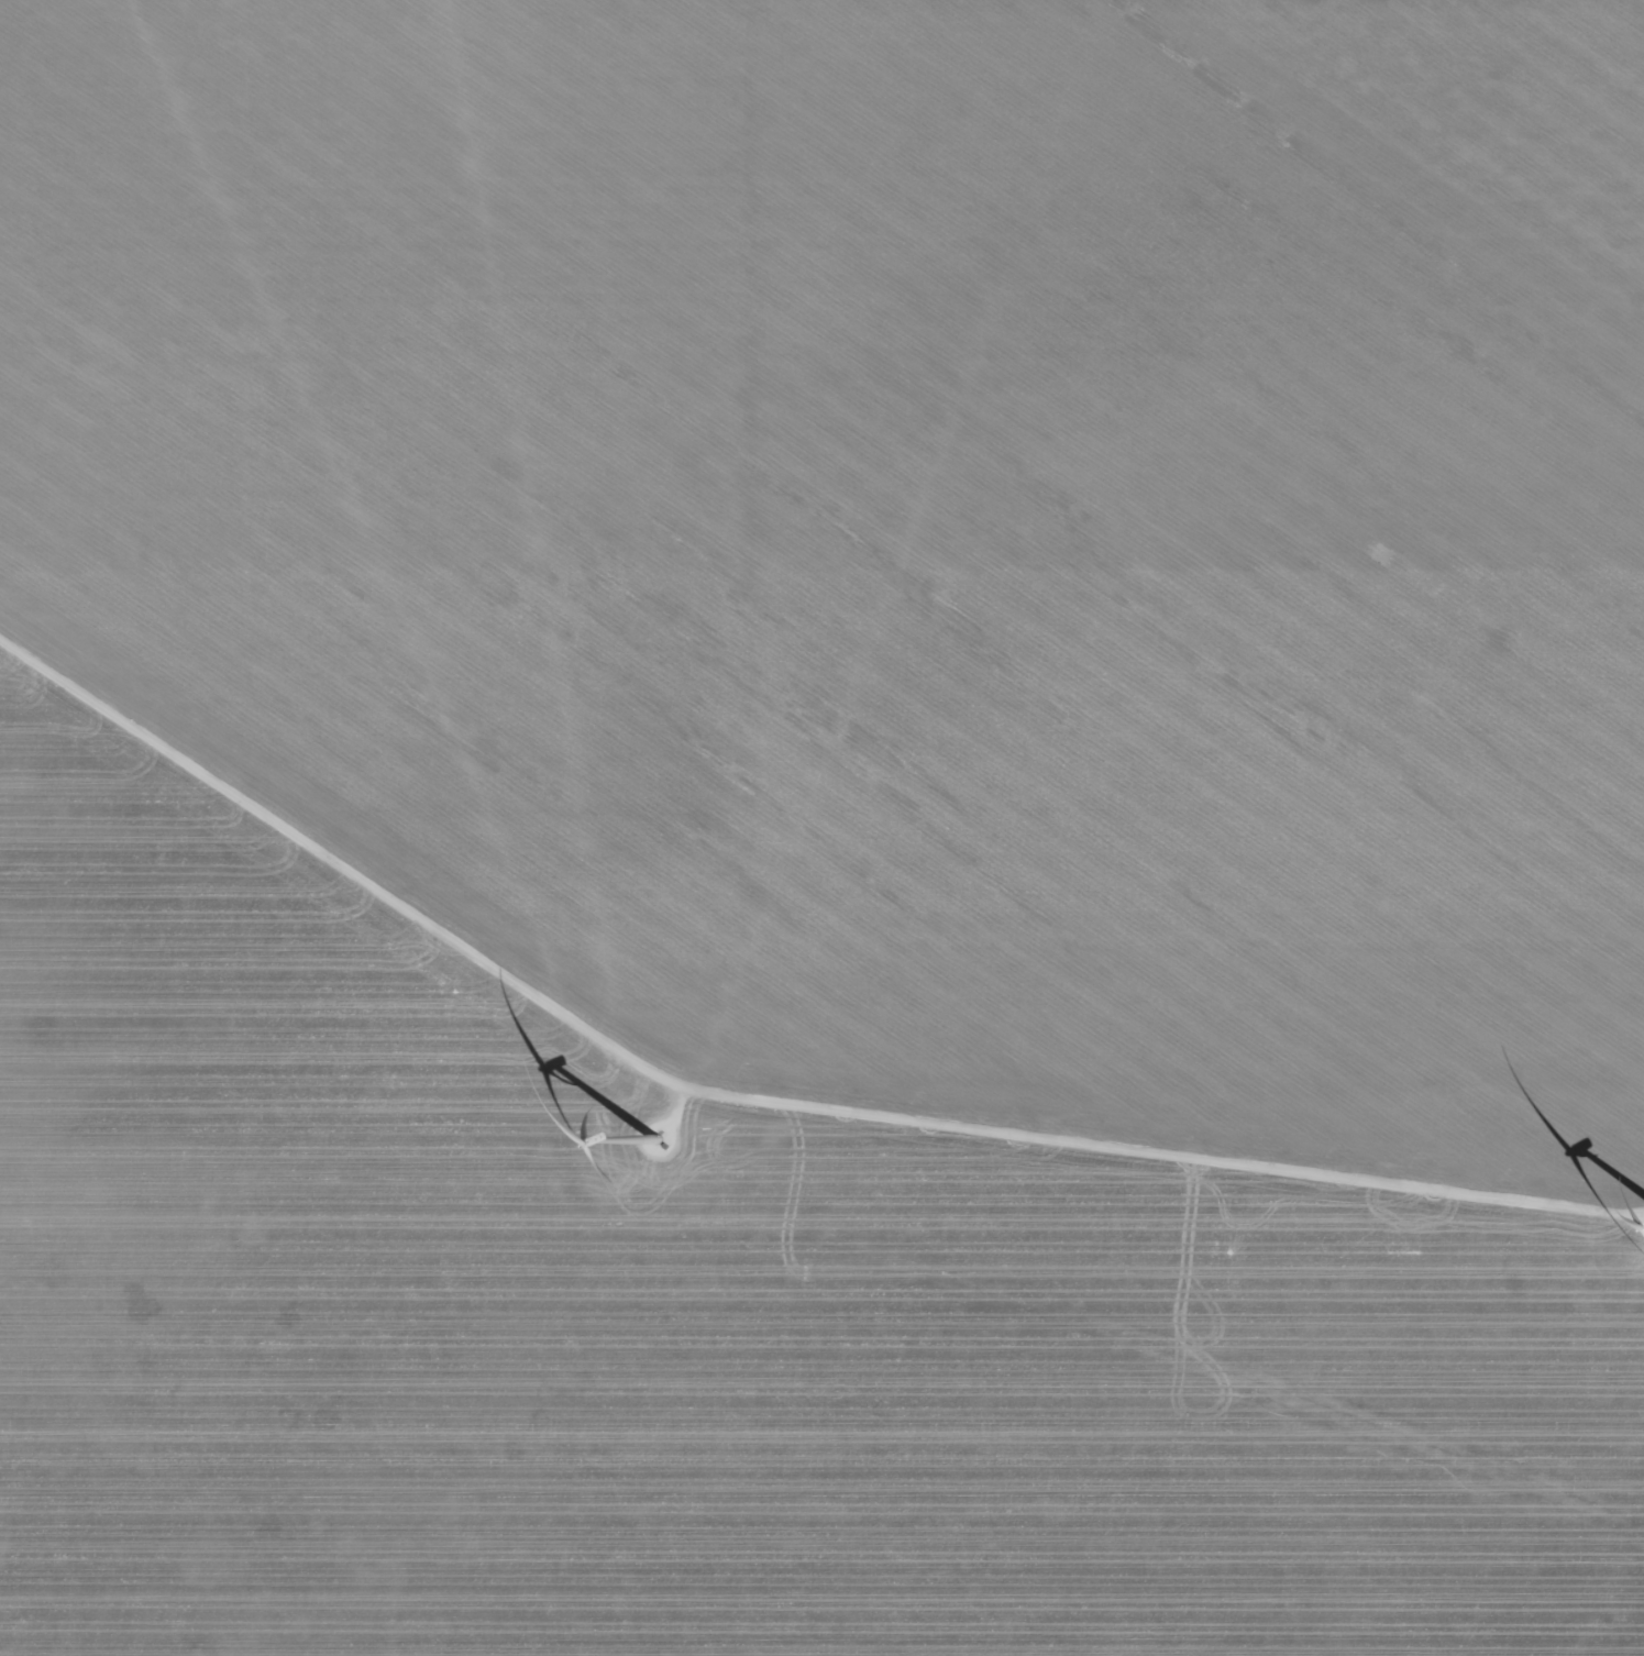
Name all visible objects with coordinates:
wind turbine: (652, 1140)

